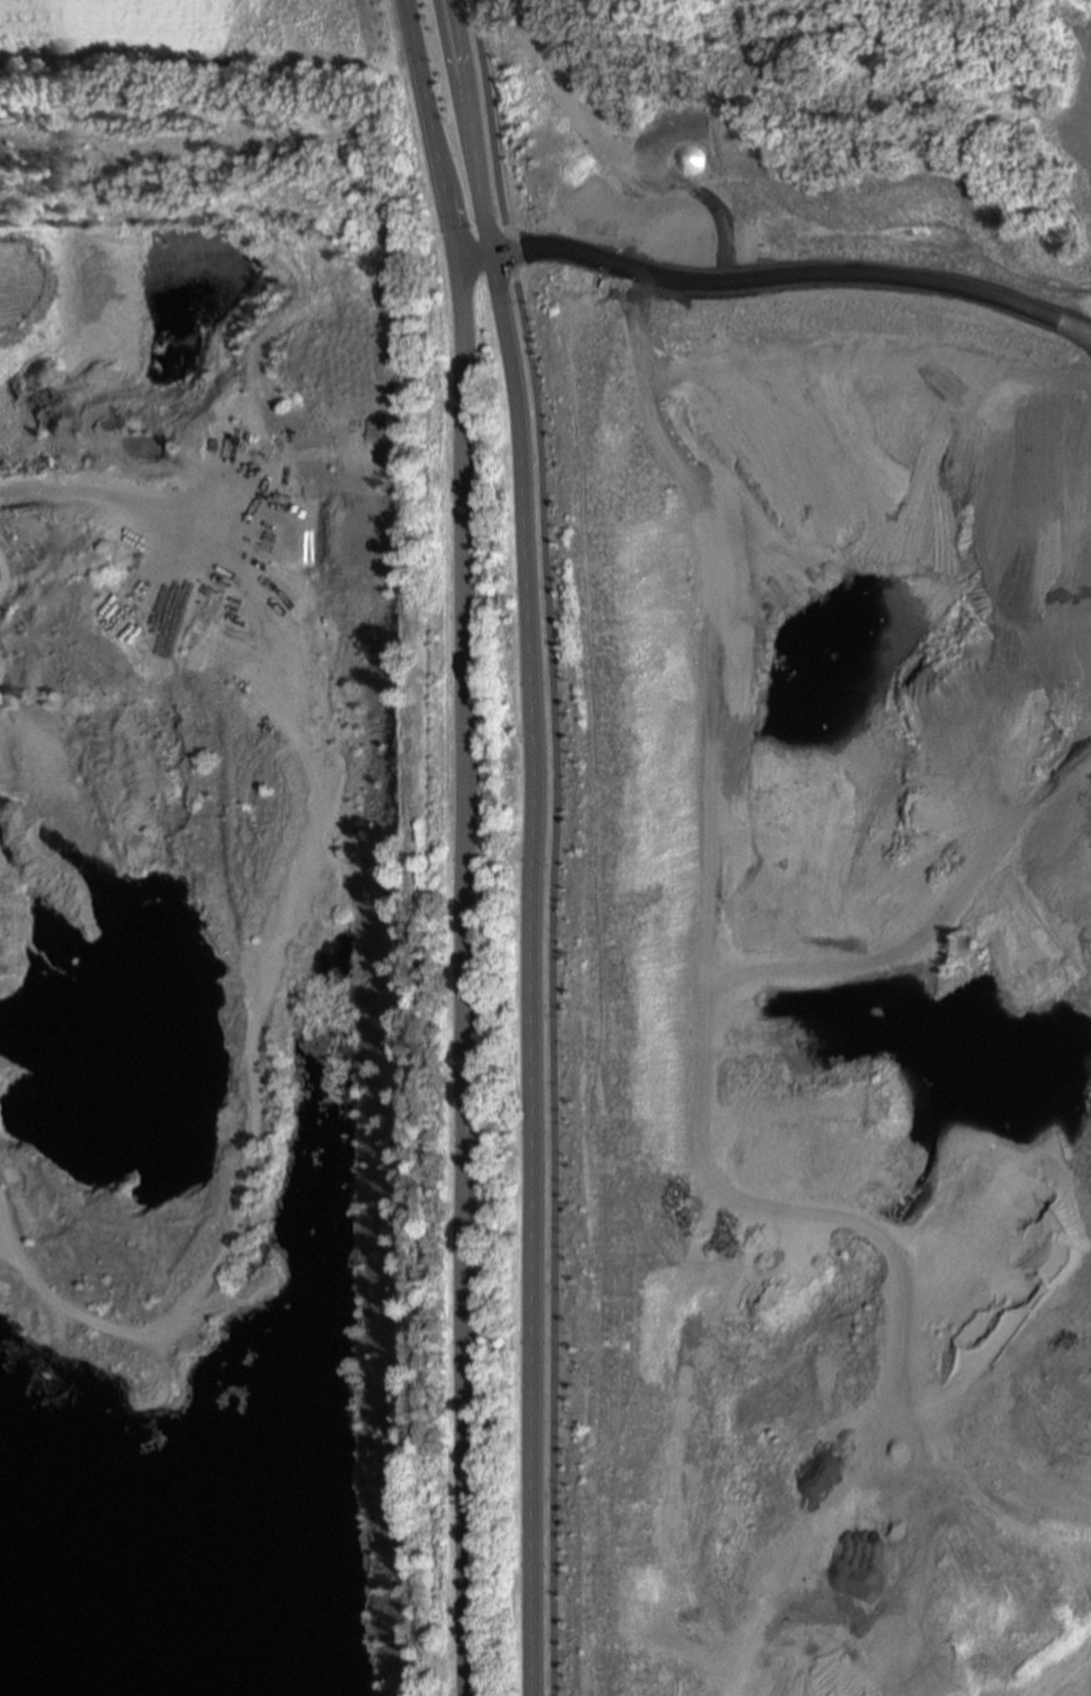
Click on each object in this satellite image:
crop: (113, 51)
park: (313, 54)
road: (471, 126)
road: (429, 131)
road: (494, 187)
road: (556, 256)
road: (550, 844)
quarry: (554, 870)
road: (527, 973)
road: (462, 978)

